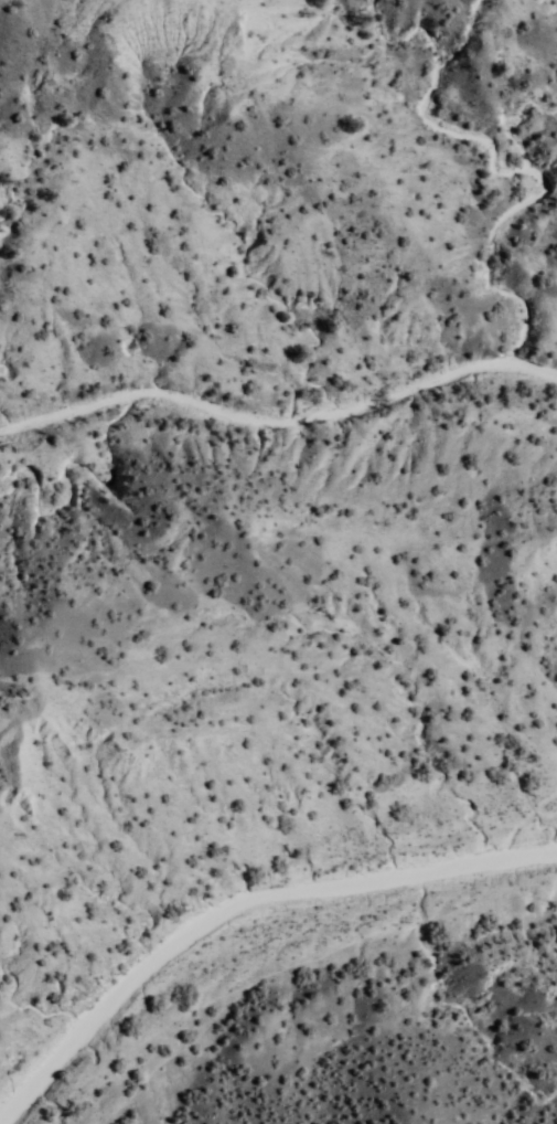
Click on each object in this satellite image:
road: (265, 935)

